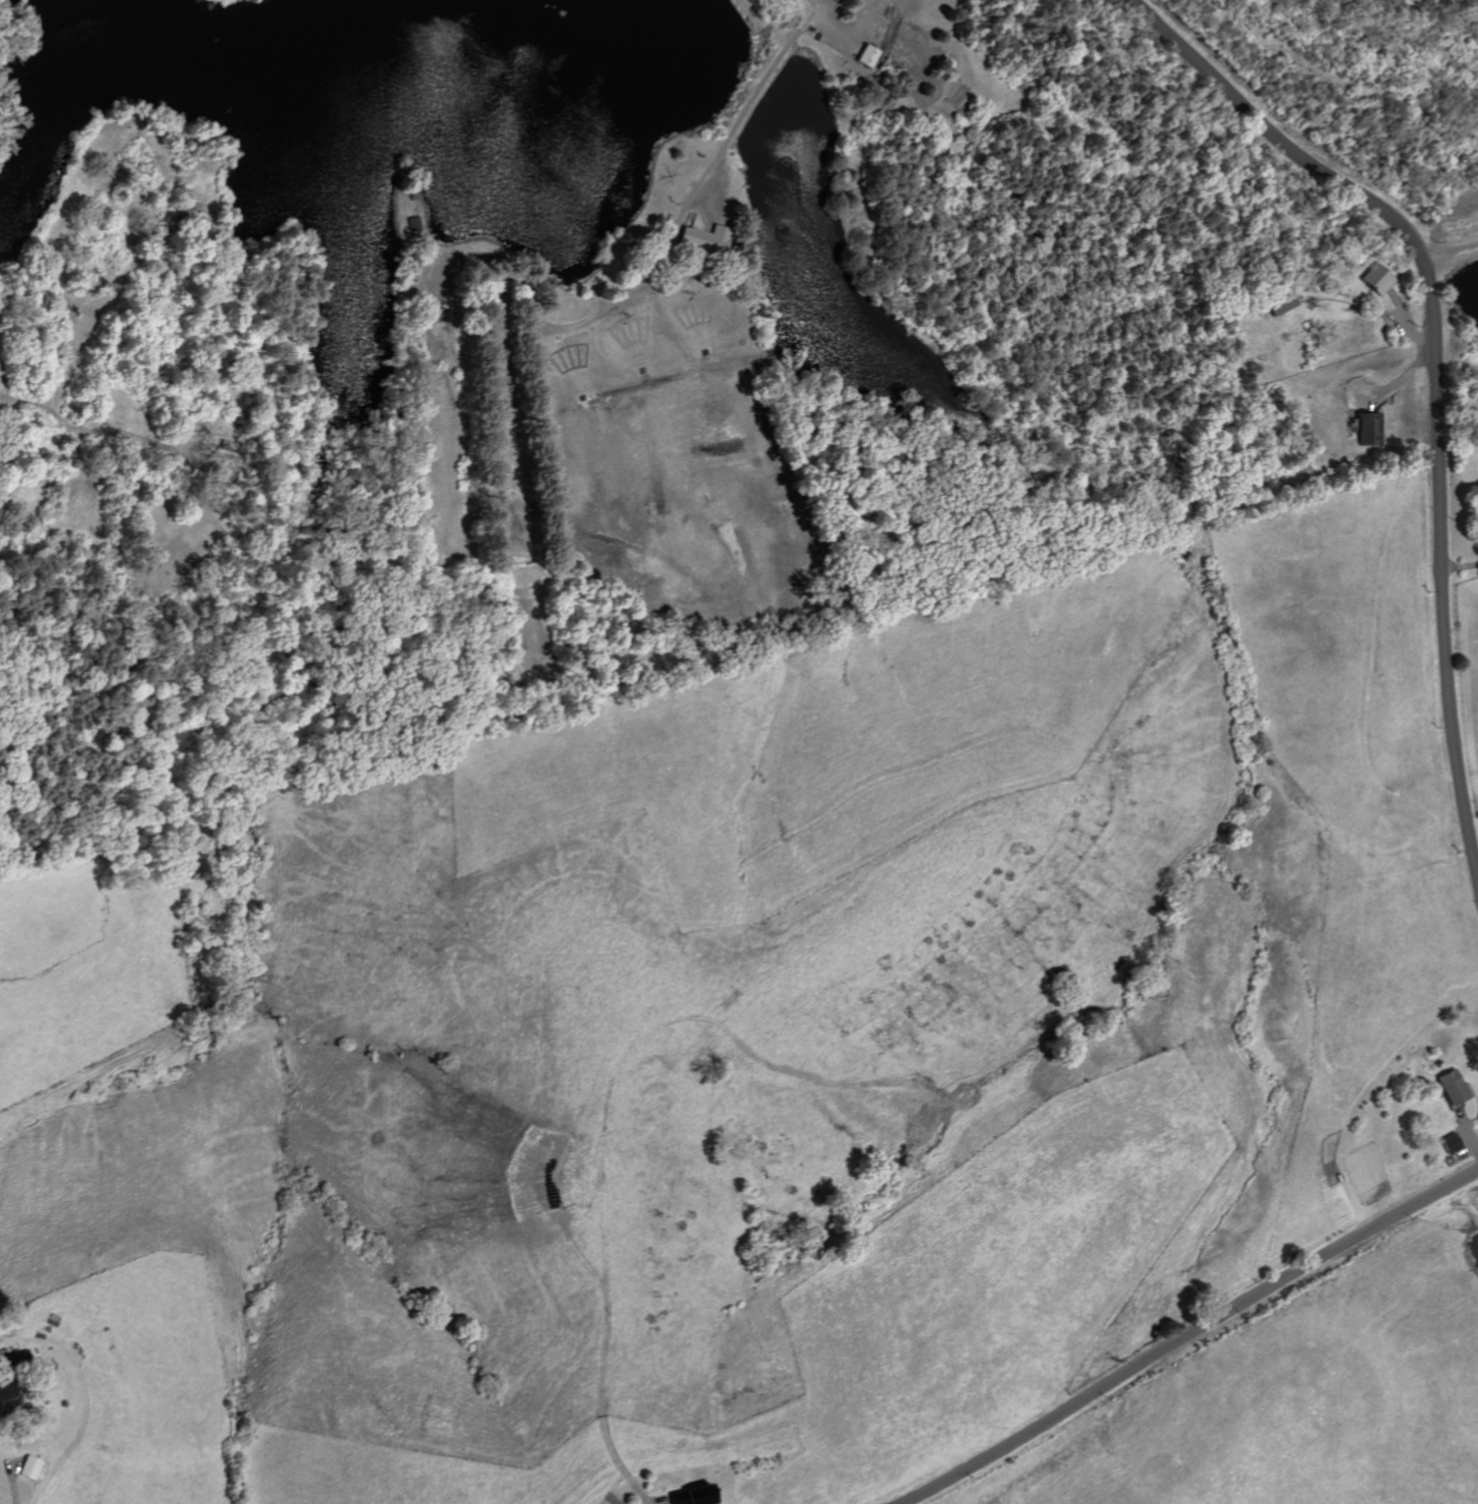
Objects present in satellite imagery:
building: (873, 52)
road: (696, 187)
building: (411, 222)
building: (705, 234)
road: (1446, 250)
building: (1371, 279)
building: (1282, 304)
road: (1431, 383)
building: (1371, 428)
building: (1359, 429)
road: (1459, 557)
road: (1476, 886)
building: (1449, 1086)
building: (1449, 1143)
road: (1184, 1332)
building: (4, 1397)
building: (28, 1467)

